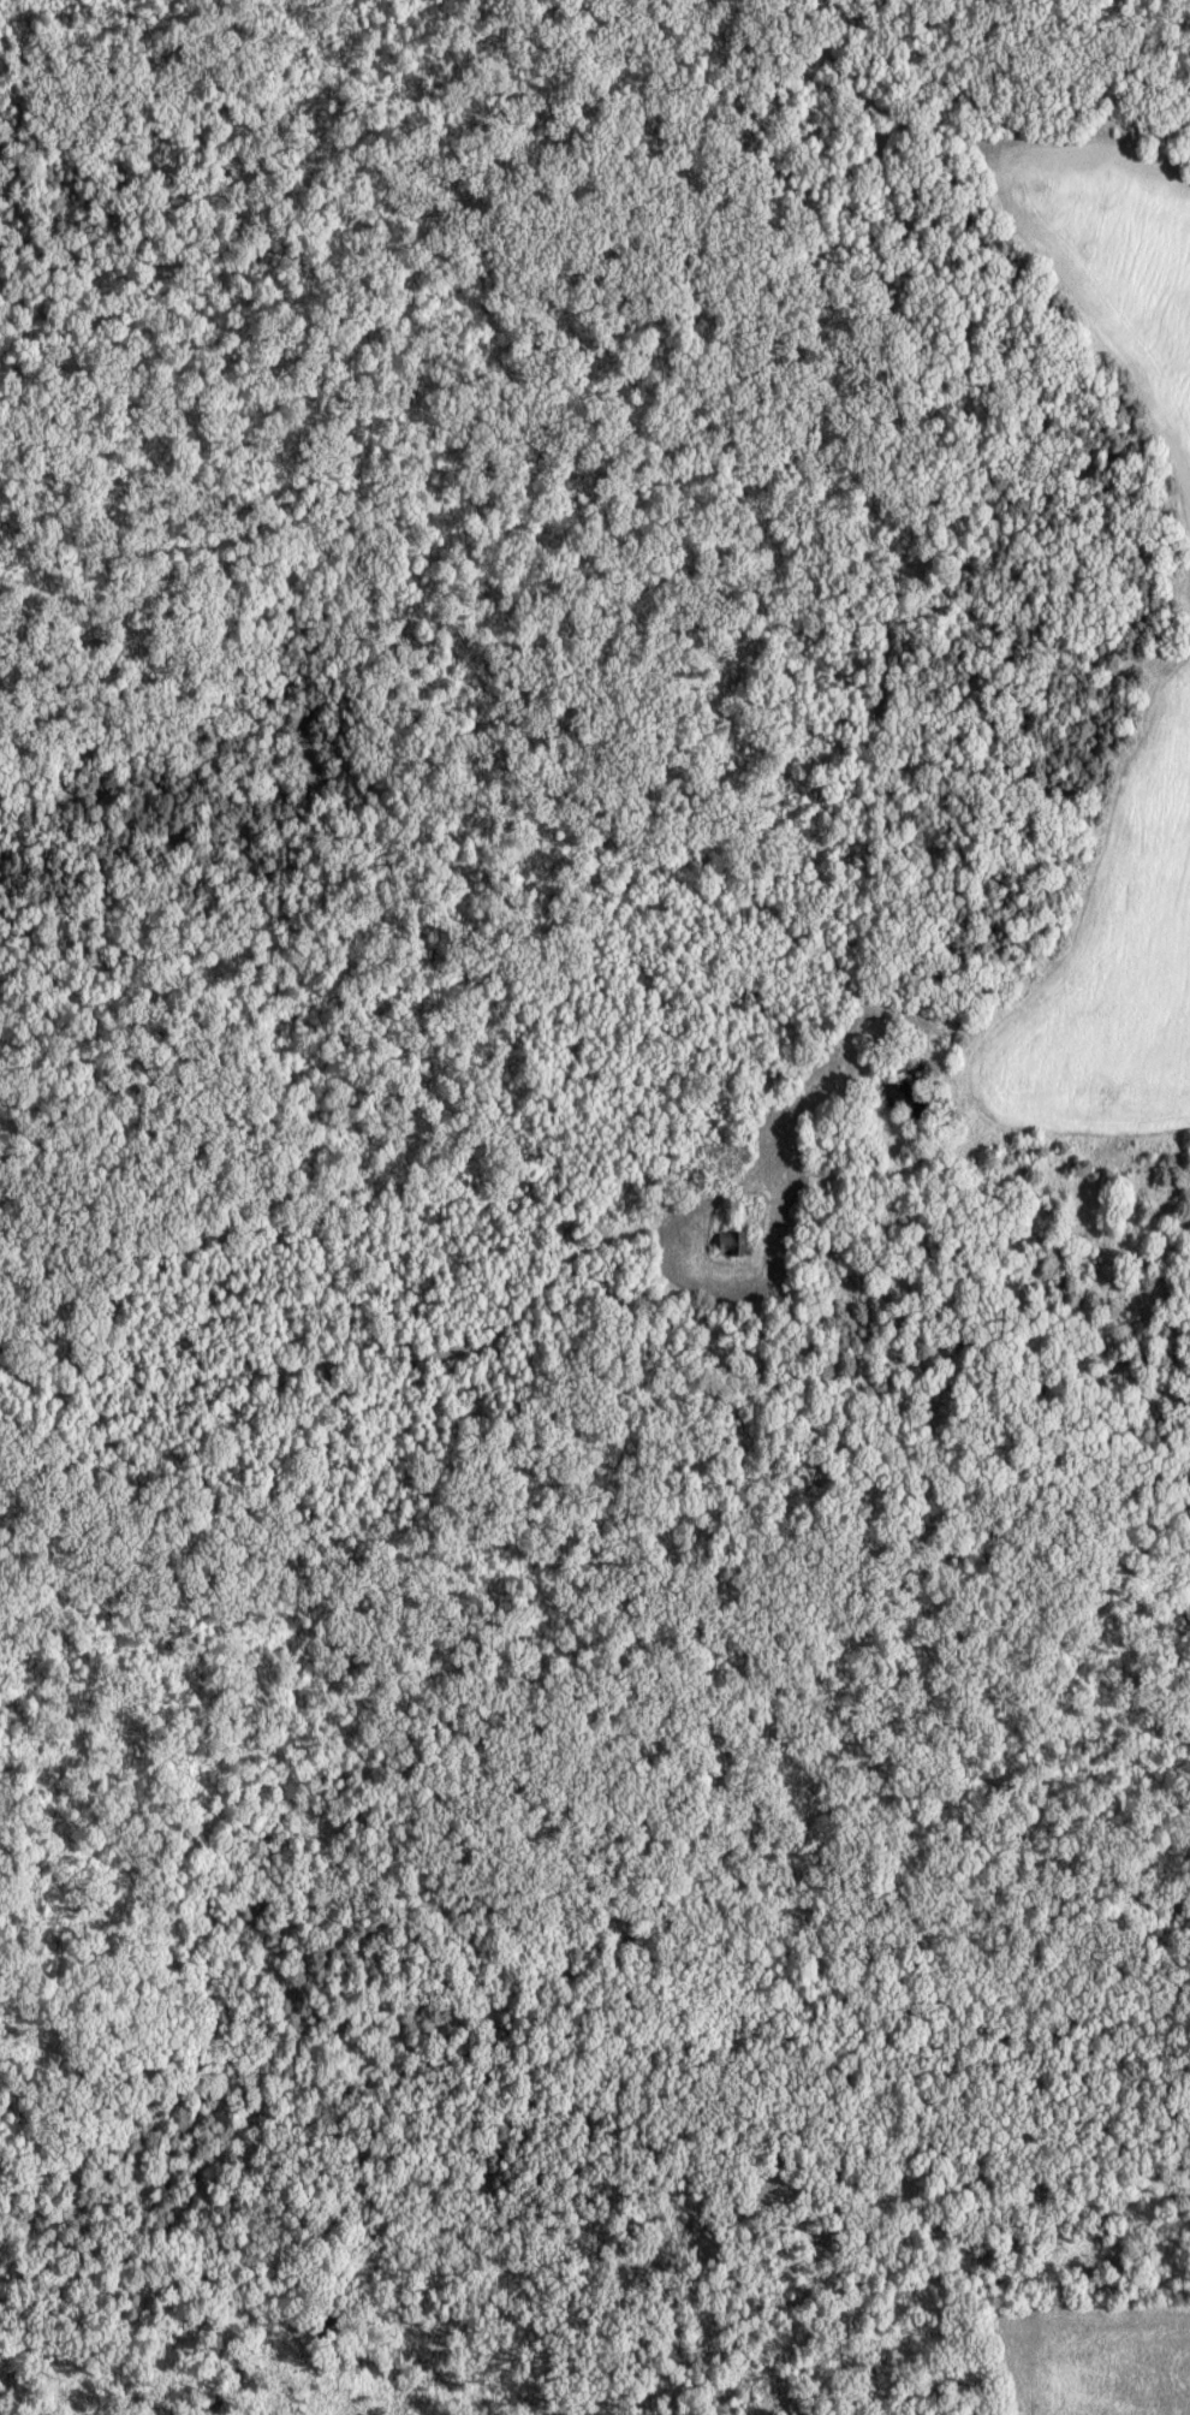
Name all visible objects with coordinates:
road: (956, 611)
building: (732, 1244)

